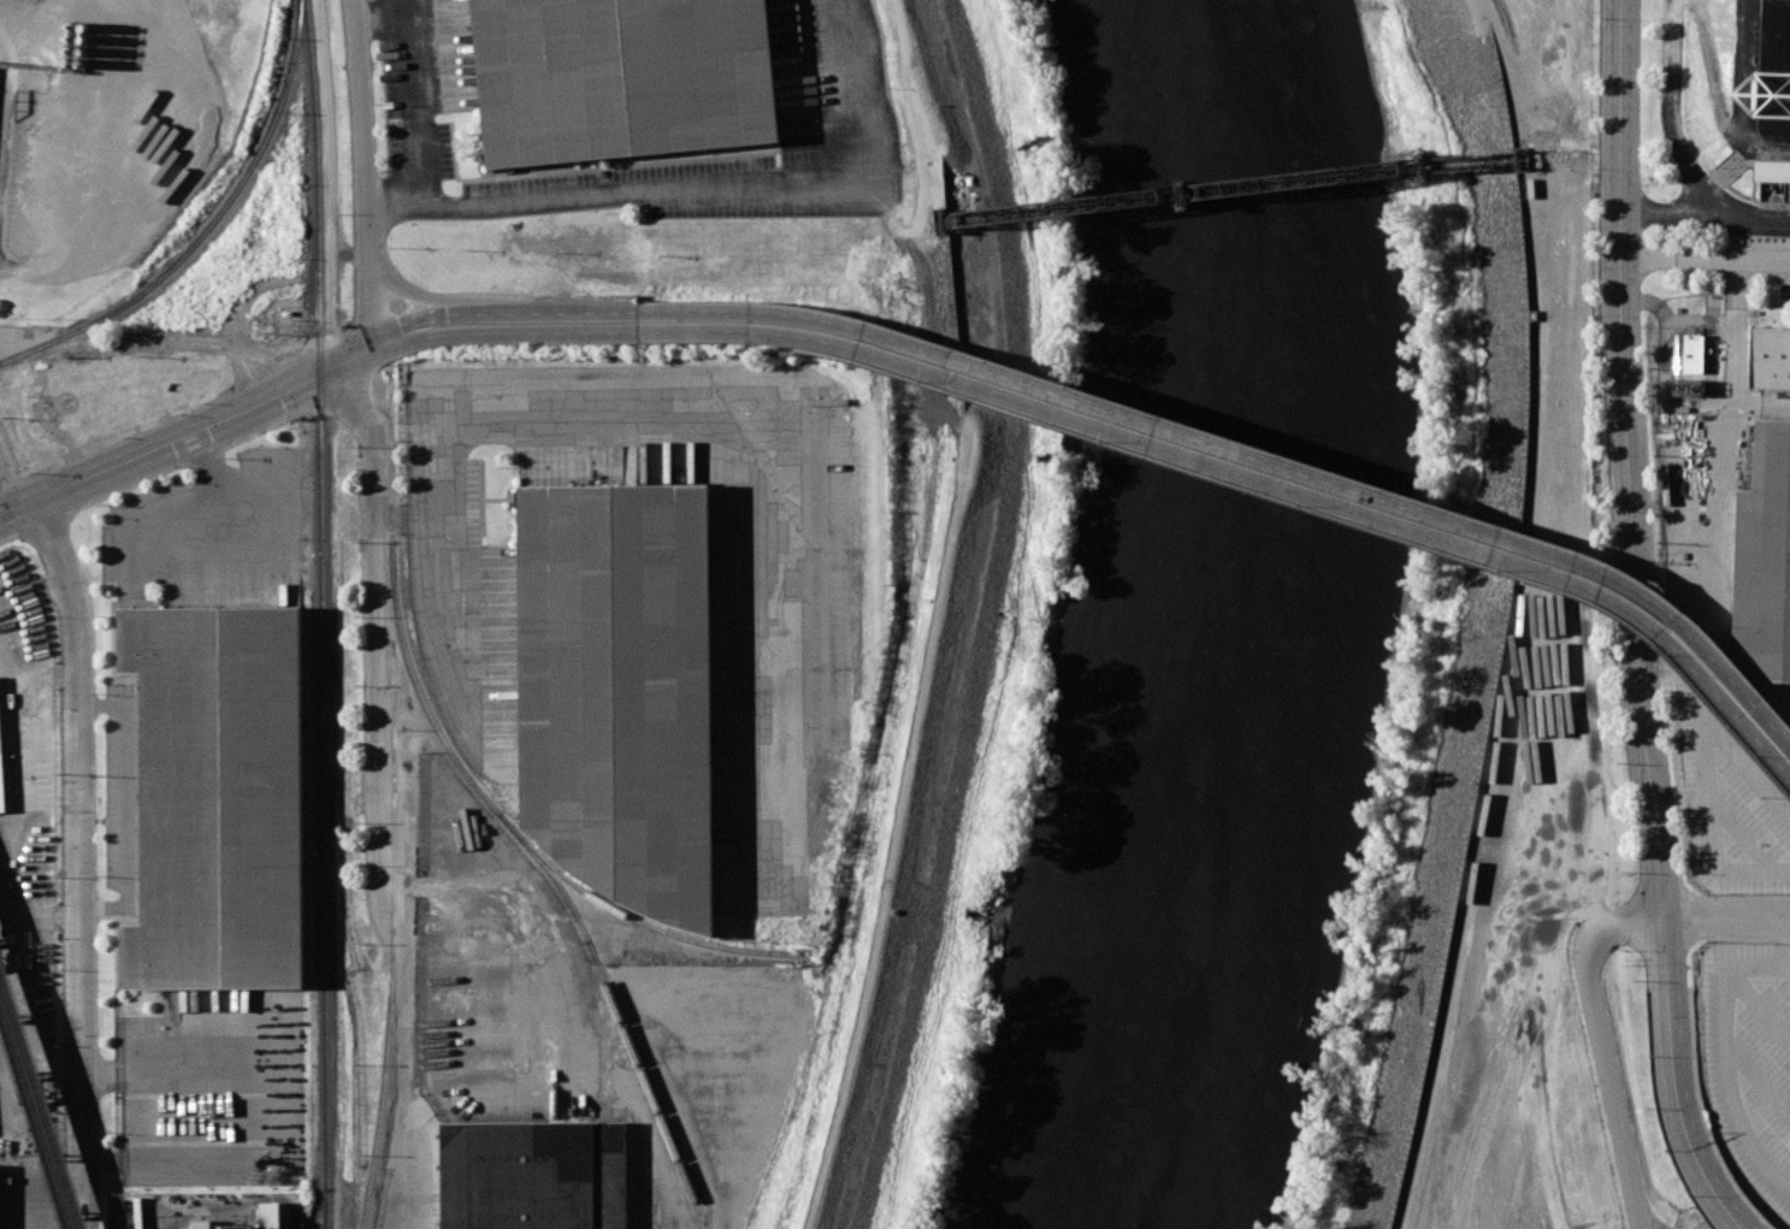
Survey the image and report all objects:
road: (379, 16)
building: (1772, 75)
stadium: (1772, 75)
building: (620, 78)
parking lot: (425, 83)
road: (857, 88)
road: (1737, 88)
road: (2, 96)
parking lot: (832, 99)
road: (414, 102)
road: (1671, 112)
road: (1721, 112)
road: (917, 132)
road: (364, 170)
building: (1772, 171)
road: (330, 185)
road: (644, 193)
railway: (1227, 193)
road: (1538, 197)
railway: (223, 208)
road: (1705, 211)
road: (1706, 260)
road: (467, 299)
street lamp: (638, 305)
road: (504, 313)
street lamp: (820, 313)
road: (508, 333)
road: (1735, 339)
road: (197, 341)
street lamp: (727, 344)
street lamp: (544, 345)
railway: (23, 353)
building: (1685, 353)
building: (1768, 358)
street lamp: (384, 365)
street lamp: (1016, 371)
street lamp: (918, 382)
building: (1692, 388)
road: (728, 408)
street lamp: (179, 415)
road: (191, 432)
road: (1183, 432)
street lamp: (1210, 433)
street lamp: (1104, 442)
road: (1176, 454)
road: (12, 479)
street lamp: (1301, 507)
street lamp: (1597, 561)
building: (1764, 561)
street lamp: (1500, 572)
road: (377, 589)
railway: (321, 614)
river: (1231, 618)
road: (1634, 622)
street lamp: (1699, 630)
street lamp: (1667, 658)
road: (1565, 674)
building: (619, 693)
road: (1742, 705)
road: (1703, 756)
street lamp: (1757, 758)
building: (1, 791)
building: (214, 800)
parking lot: (1731, 800)
railway: (394, 808)
railway: (512, 829)
road: (1738, 835)
road: (912, 844)
road: (79, 859)
railway: (637, 922)
road: (1727, 924)
road: (1621, 926)
road: (1789, 970)
road: (1757, 1006)
road: (1723, 1057)
road: (1755, 1080)
road: (1614, 1086)
parking lot: (214, 1089)
railway: (43, 1093)
road: (427, 1098)
railway: (39, 1110)
road: (252, 1113)
building: (533, 1176)
parking lot: (1686, 1222)
railway: (305, 1225)
road: (1653, 1225)

